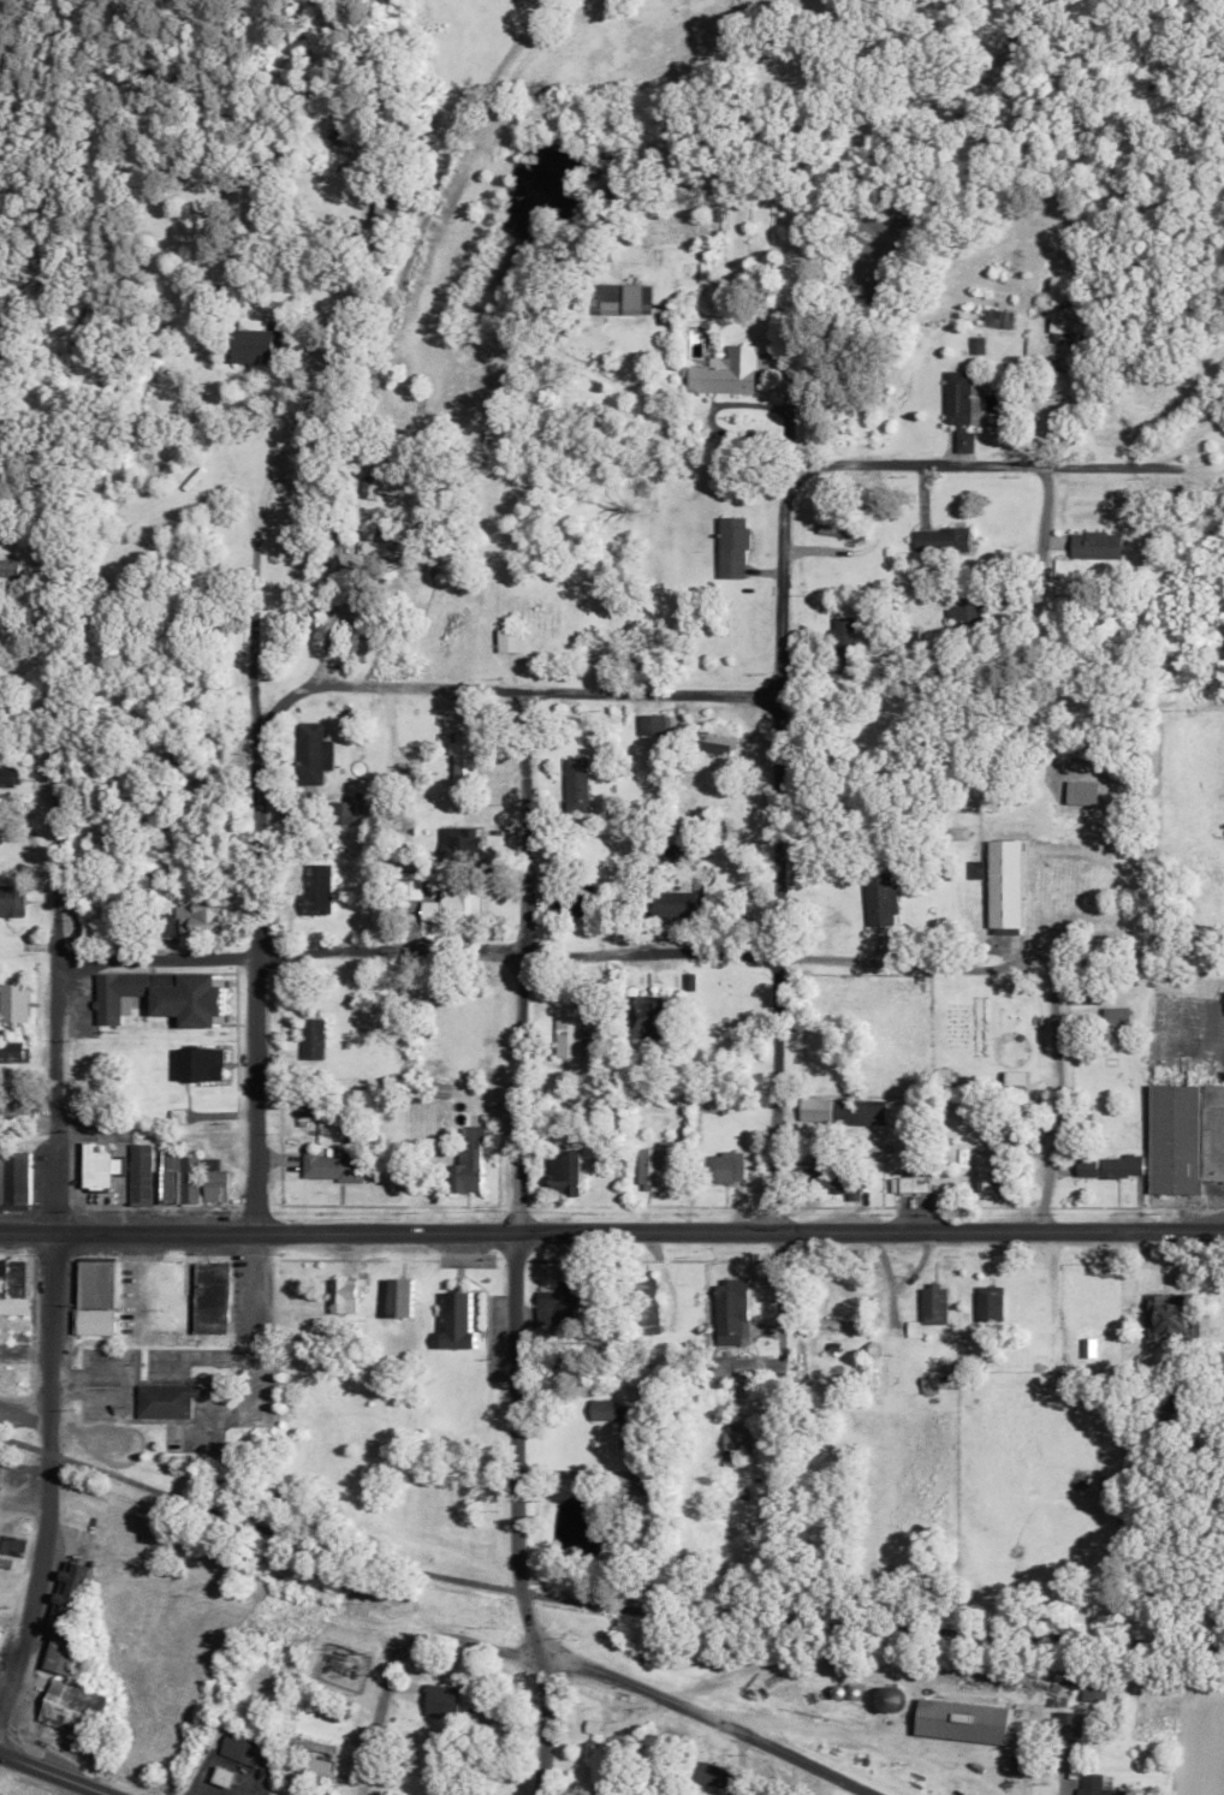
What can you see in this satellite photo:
building: (619, 298)
road: (386, 323)
building: (252, 343)
building: (725, 373)
building: (1058, 382)
building: (958, 406)
road: (1189, 446)
road: (968, 465)
road: (1192, 470)
building: (843, 530)
road: (780, 537)
building: (941, 540)
building: (1097, 545)
building: (374, 547)
building: (732, 547)
road: (254, 558)
building: (967, 613)
building: (509, 640)
building: (844, 644)
road: (504, 690)
building: (652, 724)
building: (718, 742)
building: (313, 751)
building: (465, 756)
building: (10, 777)
building: (576, 783)
building: (1081, 792)
building: (352, 815)
building: (957, 833)
building: (459, 838)
building: (667, 852)
building: (1005, 882)
building: (320, 887)
building: (880, 898)
building: (11, 899)
building: (441, 901)
building: (570, 903)
building: (673, 903)
building: (202, 914)
road: (416, 949)
road: (776, 961)
road: (1035, 974)
building: (162, 995)
building: (1081, 995)
building: (12, 1004)
building: (646, 1016)
building: (1117, 1017)
road: (256, 1024)
building: (569, 1032)
building: (311, 1036)
building: (12, 1051)
building: (198, 1063)
building: (11, 1104)
building: (815, 1108)
building: (307, 1111)
building: (861, 1112)
building: (178, 1115)
building: (477, 1133)
building: (1213, 1133)
road: (55, 1135)
building: (1174, 1139)
building: (115, 1164)
building: (334, 1164)
building: (95, 1165)
building: (654, 1165)
building: (992, 1165)
building: (1119, 1165)
building: (1086, 1166)
building: (724, 1167)
building: (469, 1169)
building: (139, 1172)
building: (566, 1172)
building: (1, 1173)
building: (14, 1175)
building: (168, 1175)
building: (834, 1177)
building: (189, 1178)
building: (214, 1179)
building: (909, 1184)
road: (611, 1231)
road: (517, 1244)
building: (95, 1283)
building: (14, 1288)
building: (347, 1292)
building: (402, 1296)
building: (176, 1297)
building: (210, 1297)
building: (934, 1303)
building: (560, 1304)
building: (990, 1304)
building: (647, 1307)
building: (732, 1313)
building: (1163, 1316)
building: (94, 1320)
building: (458, 1320)
building: (310, 1331)
building: (11, 1351)
building: (733, 1367)
building: (931, 1385)
building: (166, 1397)
road: (24, 1416)
building: (619, 1419)
building: (737, 1442)
road: (22, 1508)
building: (11, 1545)
road: (601, 1595)
building: (66, 1598)
building: (61, 1654)
road: (572, 1659)
building: (838, 1690)
silo: (838, 1690)
building: (854, 1690)
silo: (854, 1690)
building: (890, 1698)
silo: (890, 1698)
building: (72, 1707)
building: (435, 1708)
road: (0, 1710)
road: (0, 1711)
building: (962, 1720)
building: (1066, 1726)
building: (311, 1745)
building: (242, 1747)
building: (605, 1763)
building: (320, 1769)
road: (55, 1773)
building: (715, 1775)
building: (225, 1777)
building: (297, 1779)
building: (1099, 1785)

